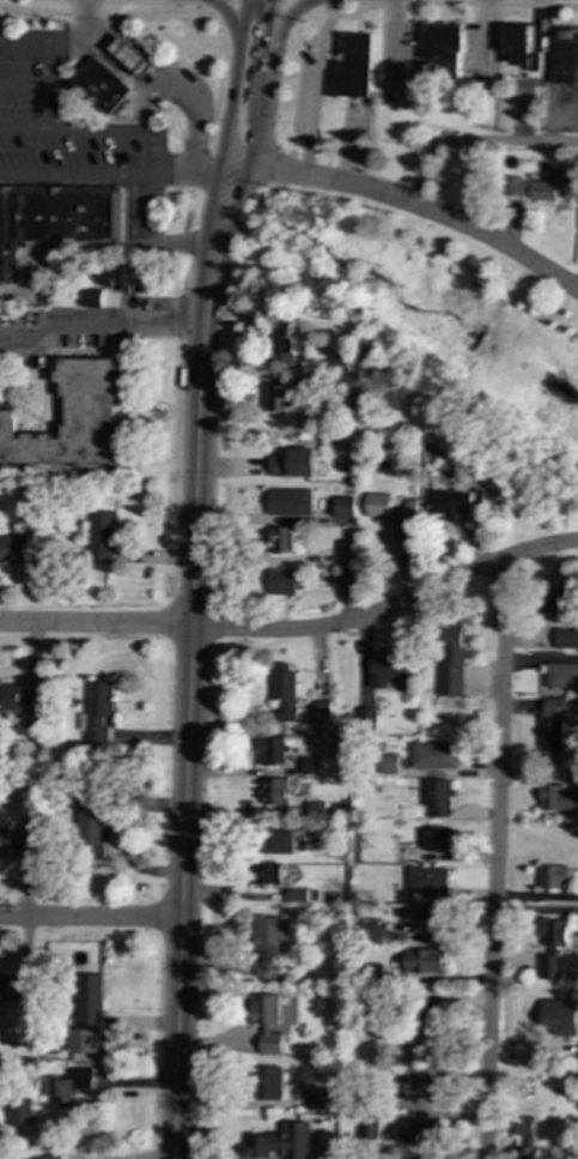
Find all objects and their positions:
road: (430, 2)
road: (114, 16)
road: (231, 17)
road: (28, 40)
road: (279, 47)
building: (521, 47)
building: (440, 48)
road: (266, 52)
building: (564, 56)
building: (133, 59)
road: (55, 62)
building: (353, 66)
road: (28, 85)
road: (317, 86)
building: (102, 87)
road: (153, 90)
road: (54, 108)
road: (101, 131)
road: (256, 133)
road: (473, 143)
road: (223, 146)
road: (37, 173)
road: (115, 175)
road: (187, 177)
building: (536, 188)
road: (407, 204)
building: (56, 217)
road: (229, 229)
building: (126, 277)
building: (91, 297)
road: (205, 310)
road: (101, 326)
park: (433, 327)
building: (288, 348)
building: (352, 384)
building: (282, 398)
building: (74, 418)
building: (294, 463)
building: (291, 502)
building: (455, 502)
building: (345, 507)
building: (396, 515)
building: (103, 536)
building: (285, 541)
building: (13, 548)
building: (346, 553)
building: (346, 578)
building: (286, 581)
building: (559, 600)
road: (297, 630)
building: (566, 638)
building: (451, 660)
building: (387, 669)
building: (558, 676)
building: (285, 689)
building: (20, 702)
building: (98, 711)
building: (322, 711)
building: (365, 717)
building: (552, 725)
road: (189, 743)
building: (273, 750)
building: (433, 755)
building: (310, 765)
building: (388, 765)
building: (272, 792)
building: (439, 798)
building: (556, 798)
building: (317, 821)
building: (92, 825)
building: (438, 839)
building: (275, 841)
building: (17, 844)
road: (497, 861)
building: (266, 873)
building: (554, 876)
building: (428, 881)
building: (432, 916)
road: (91, 919)
building: (371, 931)
building: (555, 934)
building: (269, 944)
building: (424, 960)
building: (550, 967)
building: (14, 990)
building: (431, 1012)
building: (87, 1015)
building: (560, 1015)
building: (268, 1021)
building: (268, 1082)
building: (72, 1085)
building: (425, 1085)
building: (316, 1098)
building: (19, 1111)
building: (421, 1131)
building: (282, 1142)
building: (524, 1143)
building: (48, 1155)

